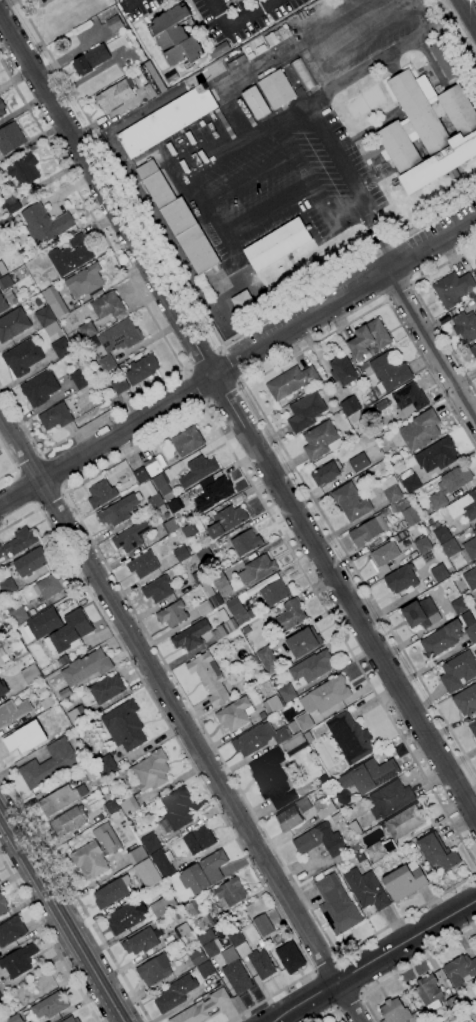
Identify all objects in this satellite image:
road: (475, 0)
building: (45, 2)
road: (469, 11)
building: (108, 14)
road: (238, 20)
building: (114, 24)
road: (460, 26)
building: (175, 36)
building: (116, 43)
building: (218, 50)
building: (90, 60)
building: (445, 60)
building: (302, 74)
building: (170, 76)
building: (151, 79)
building: (276, 89)
building: (115, 95)
building: (256, 103)
road: (304, 104)
building: (2, 109)
road: (109, 113)
building: (167, 121)
building: (427, 131)
building: (10, 138)
building: (23, 171)
building: (10, 205)
building: (178, 219)
building: (8, 221)
building: (44, 224)
building: (277, 244)
building: (70, 256)
building: (475, 262)
building: (2, 269)
building: (36, 277)
building: (84, 281)
building: (5, 282)
building: (453, 289)
road: (400, 294)
road: (194, 299)
building: (474, 299)
building: (54, 302)
building: (241, 302)
building: (2, 304)
building: (107, 305)
road: (424, 306)
building: (44, 316)
road: (152, 320)
building: (13, 324)
building: (465, 326)
building: (52, 329)
building: (87, 330)
building: (368, 339)
building: (113, 342)
road: (432, 345)
building: (61, 348)
building: (473, 350)
road: (202, 357)
building: (22, 358)
road: (237, 363)
road: (233, 365)
building: (141, 369)
building: (342, 370)
building: (389, 372)
building: (79, 379)
building: (292, 382)
building: (119, 385)
building: (39, 389)
road: (193, 389)
road: (224, 396)
building: (409, 399)
building: (382, 405)
building: (350, 406)
building: (305, 412)
road: (237, 415)
building: (55, 416)
building: (420, 430)
road: (273, 433)
building: (321, 440)
building: (187, 441)
building: (436, 455)
road: (27, 460)
building: (154, 462)
building: (358, 462)
road: (13, 463)
building: (197, 471)
building: (325, 474)
building: (369, 474)
building: (140, 475)
building: (409, 481)
building: (161, 484)
building: (449, 485)
building: (391, 489)
building: (100, 494)
building: (213, 494)
road: (63, 495)
road: (50, 501)
building: (155, 501)
building: (350, 502)
building: (174, 506)
building: (393, 508)
building: (461, 509)
building: (162, 510)
building: (118, 511)
building: (407, 512)
building: (226, 521)
building: (170, 526)
building: (188, 530)
building: (368, 530)
building: (439, 535)
building: (131, 536)
building: (400, 537)
building: (202, 540)
building: (19, 542)
building: (245, 543)
building: (422, 545)
building: (448, 547)
building: (181, 554)
building: (384, 554)
building: (204, 556)
building: (31, 562)
building: (142, 565)
building: (256, 570)
building: (439, 573)
building: (200, 576)
building: (401, 579)
building: (470, 579)
building: (218, 581)
building: (48, 586)
building: (7, 587)
building: (157, 589)
building: (224, 590)
building: (273, 590)
building: (208, 600)
building: (458, 606)
building: (475, 607)
building: (263, 609)
building: (239, 611)
building: (172, 614)
building: (421, 614)
building: (18, 616)
building: (290, 616)
building: (44, 623)
building: (223, 626)
building: (469, 626)
building: (71, 630)
building: (245, 630)
building: (191, 636)
building: (441, 639)
building: (303, 642)
building: (15, 645)
building: (267, 660)
building: (311, 667)
building: (86, 669)
building: (458, 671)
building: (31, 674)
building: (209, 678)
building: (55, 680)
building: (41, 686)
building: (3, 689)
building: (103, 690)
building: (64, 693)
building: (286, 693)
building: (329, 693)
building: (466, 700)
building: (47, 703)
building: (272, 705)
building: (249, 710)
building: (13, 712)
building: (77, 715)
building: (233, 715)
road: (181, 716)
building: (304, 722)
building: (124, 726)
building: (473, 728)
building: (308, 737)
building: (24, 738)
building: (349, 738)
building: (258, 739)
building: (294, 744)
road: (189, 762)
building: (48, 765)
building: (106, 765)
building: (151, 771)
building: (90, 772)
building: (369, 775)
building: (271, 779)
building: (60, 799)
building: (390, 799)
building: (300, 804)
building: (129, 806)
building: (111, 807)
building: (324, 807)
building: (176, 810)
building: (289, 818)
building: (335, 818)
building: (68, 821)
building: (405, 821)
building: (354, 828)
building: (198, 840)
building: (319, 840)
building: (150, 843)
building: (353, 847)
building: (380, 850)
building: (437, 852)
building: (136, 855)
building: (359, 856)
building: (89, 860)
building: (163, 863)
building: (203, 872)
building: (147, 873)
building: (404, 881)
building: (365, 889)
building: (111, 892)
building: (229, 893)
road: (73, 898)
building: (162, 905)
building: (336, 905)
building: (2, 906)
building: (192, 908)
building: (178, 915)
road: (62, 916)
building: (126, 917)
building: (205, 923)
building: (262, 925)
building: (181, 930)
building: (11, 931)
road: (49, 939)
building: (140, 942)
building: (240, 944)
building: (210, 949)
building: (197, 957)
building: (290, 958)
road: (374, 959)
building: (18, 961)
building: (261, 964)
road: (325, 964)
building: (205, 969)
building: (154, 970)
road: (406, 970)
building: (460, 970)
building: (235, 972)
building: (175, 993)
building: (428, 993)
building: (0, 997)
building: (453, 1004)
road: (348, 1005)
building: (49, 1006)
building: (201, 1008)
building: (397, 1012)
road: (332, 1014)
building: (14, 1018)
building: (70, 1019)

